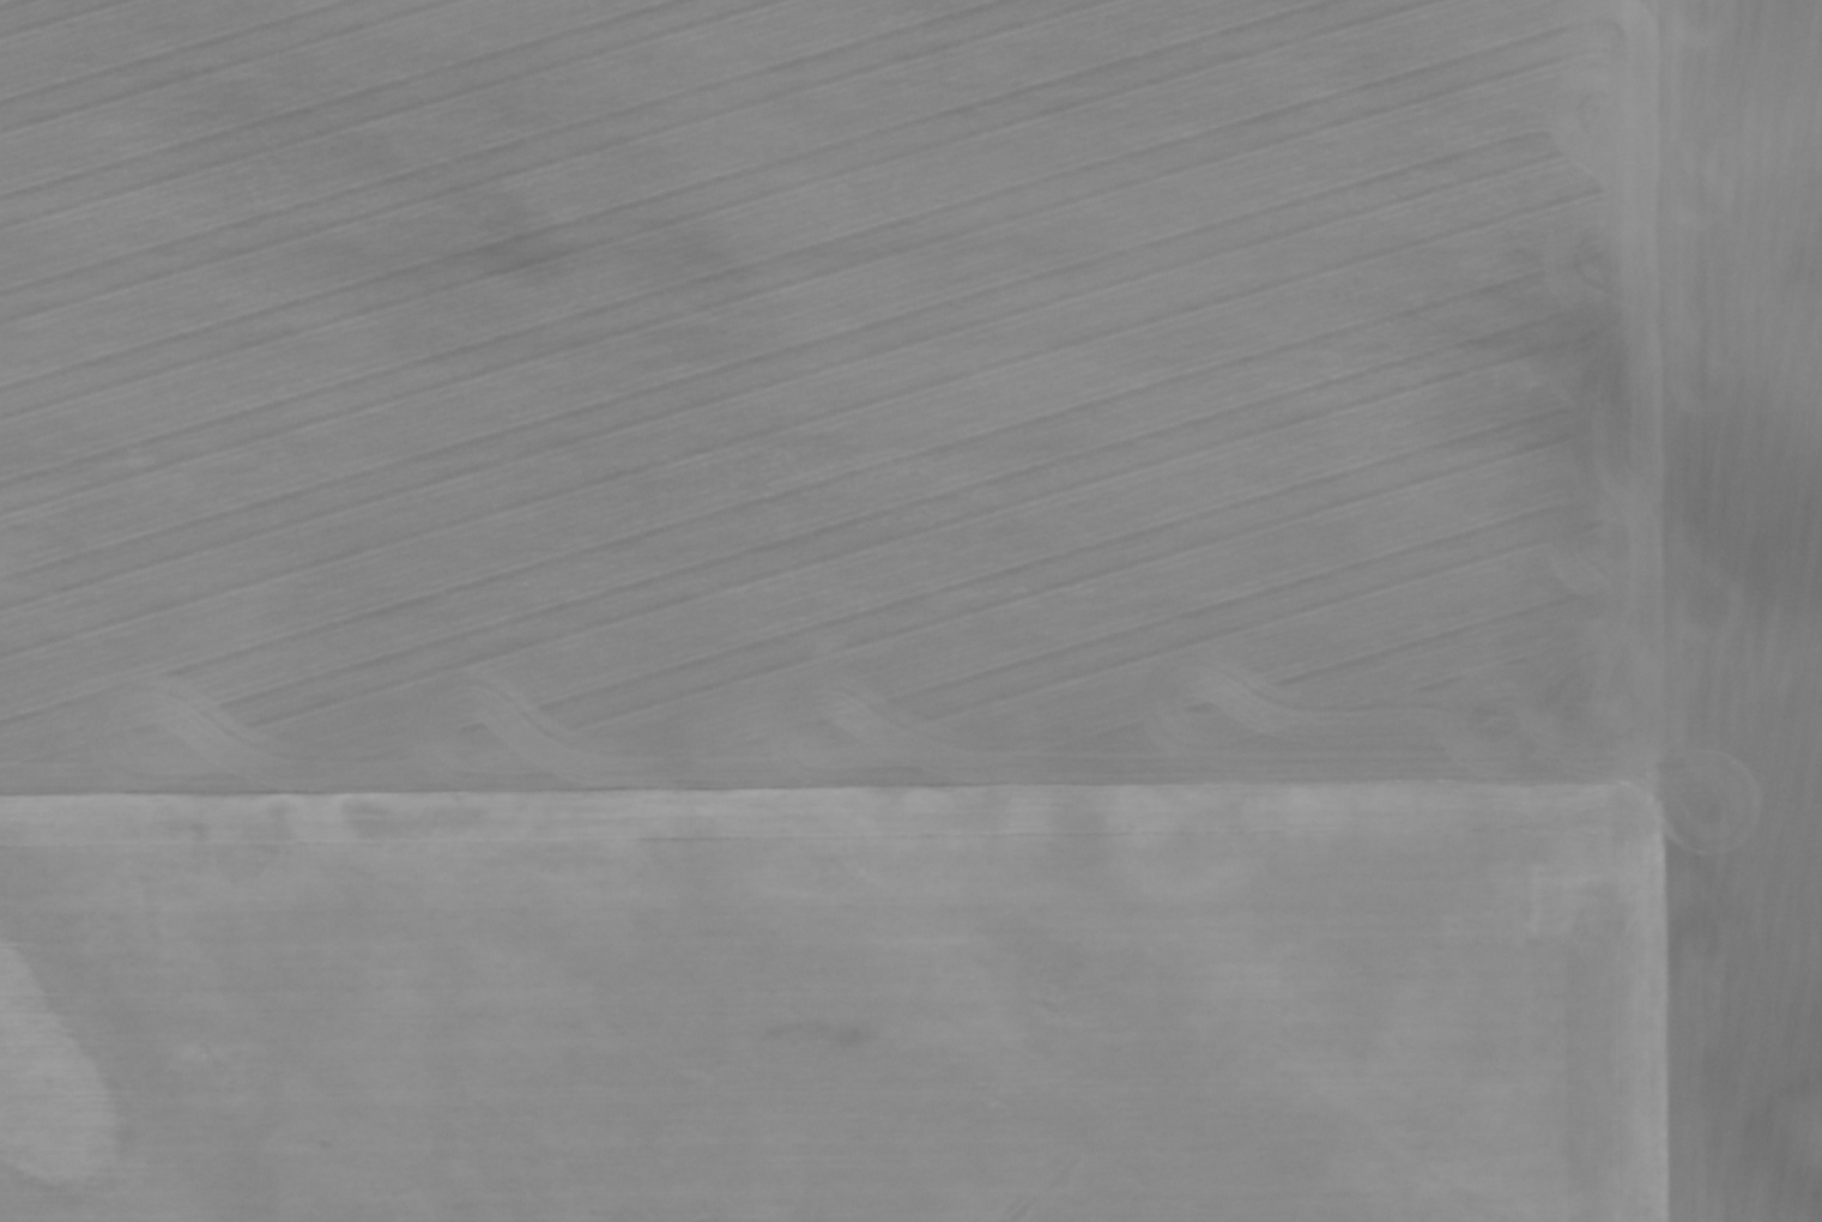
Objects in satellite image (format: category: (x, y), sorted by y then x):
crop: (910, 611)

